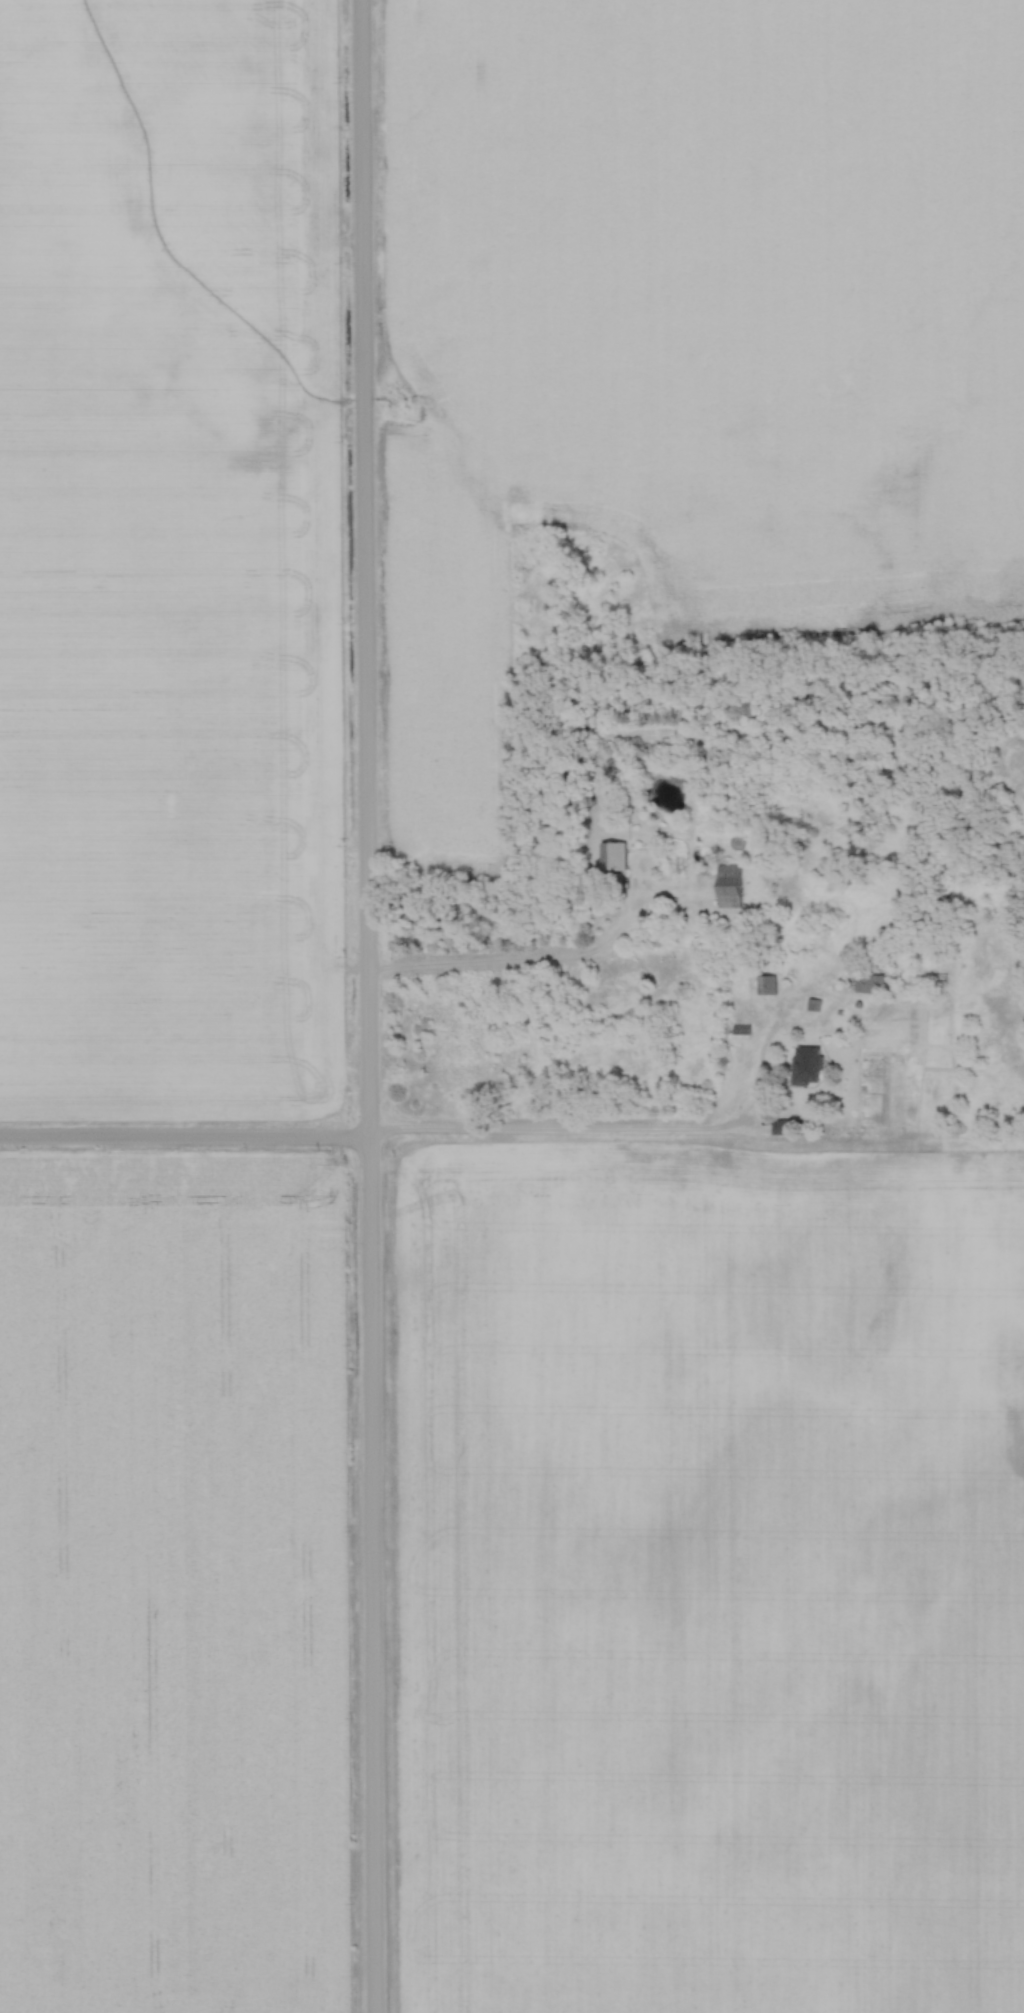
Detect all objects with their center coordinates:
building: (612, 856)
building: (729, 885)
building: (865, 962)
road: (517, 964)
building: (934, 977)
building: (869, 984)
building: (765, 985)
road: (365, 1006)
building: (806, 1066)
road: (567, 1129)
road: (183, 1138)

